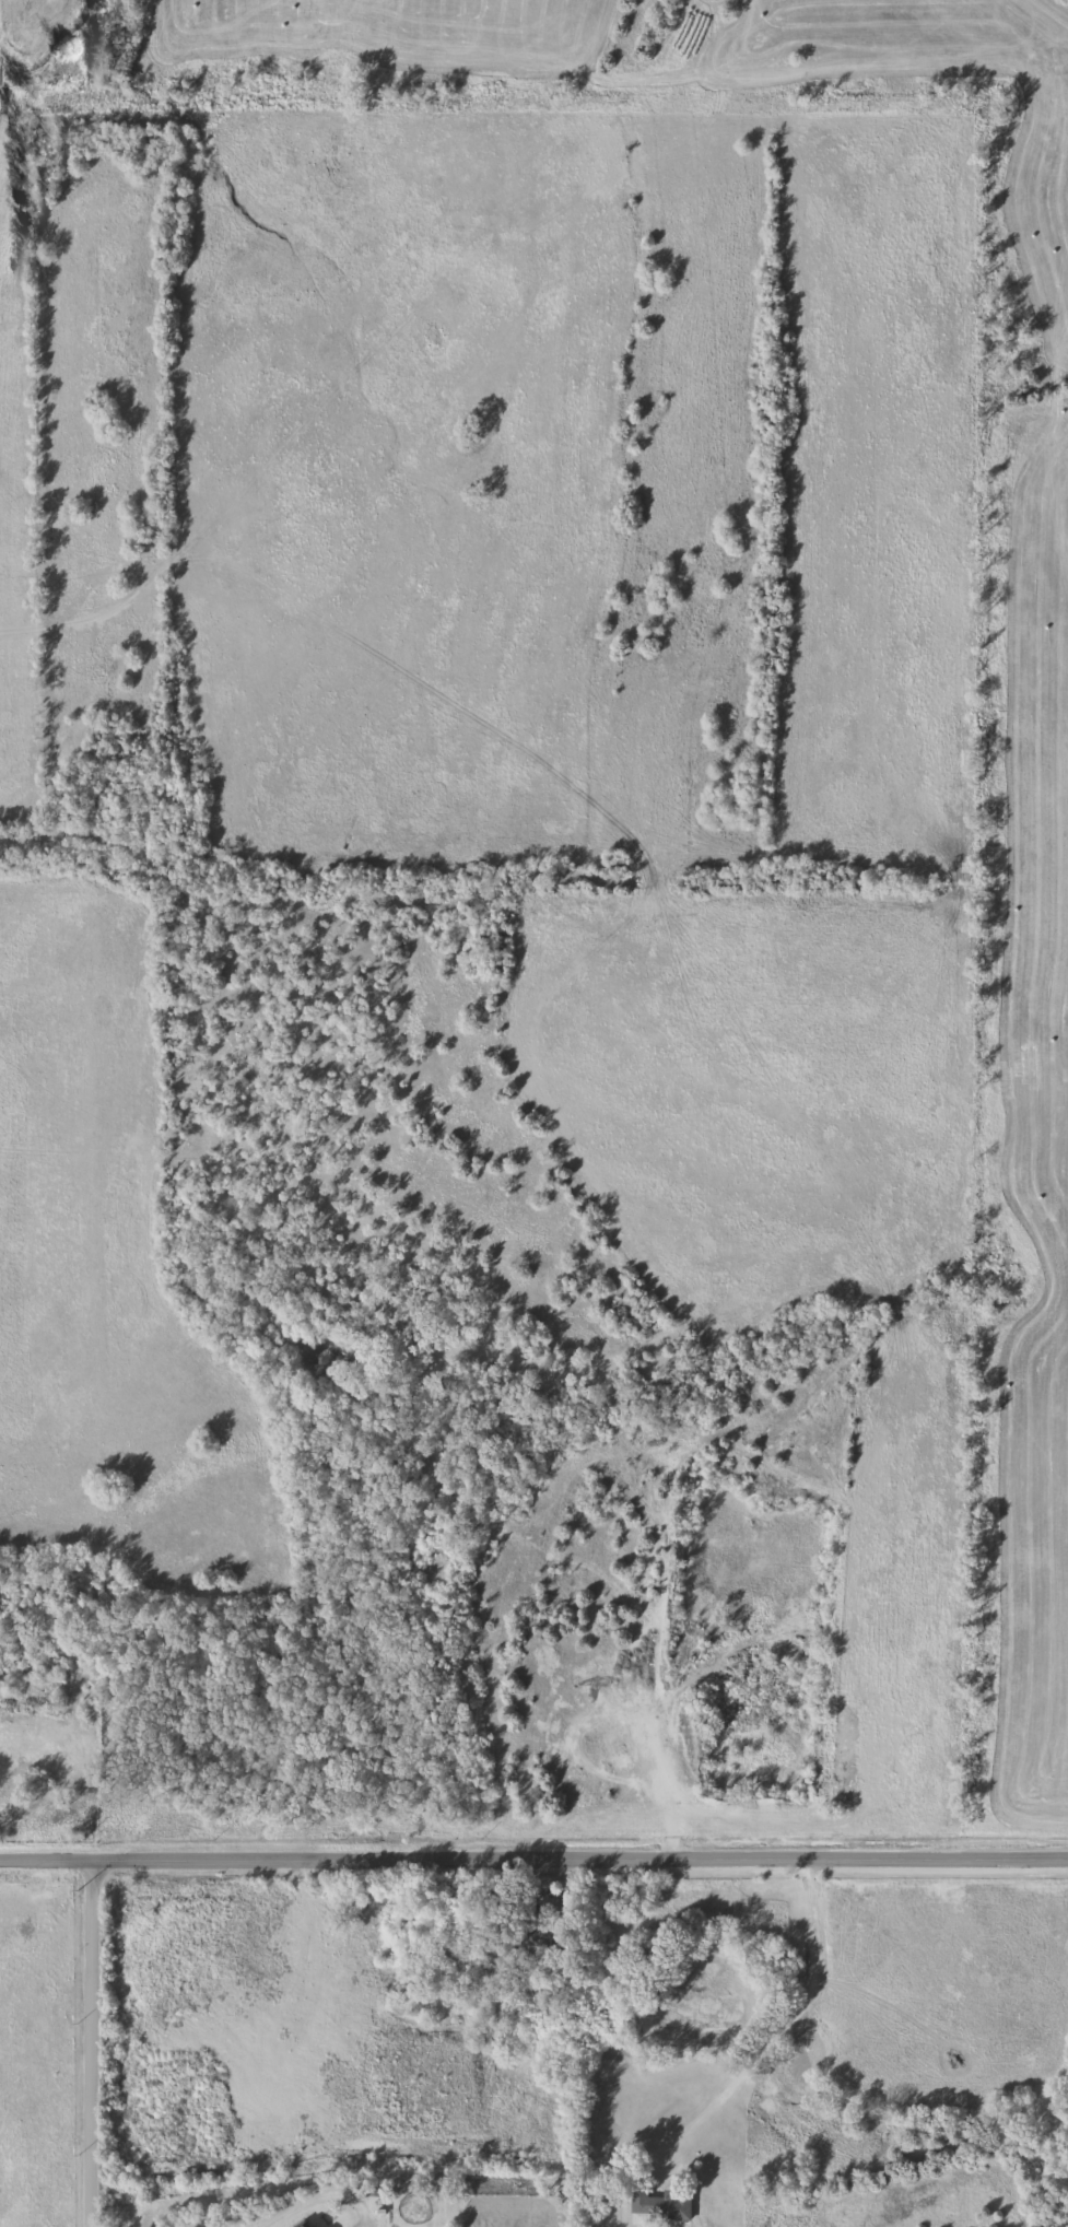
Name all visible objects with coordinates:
road: (533, 1862)
building: (536, 1937)
road: (89, 2043)
road: (753, 2060)
road: (321, 2196)
building: (661, 2207)
building: (304, 2224)

